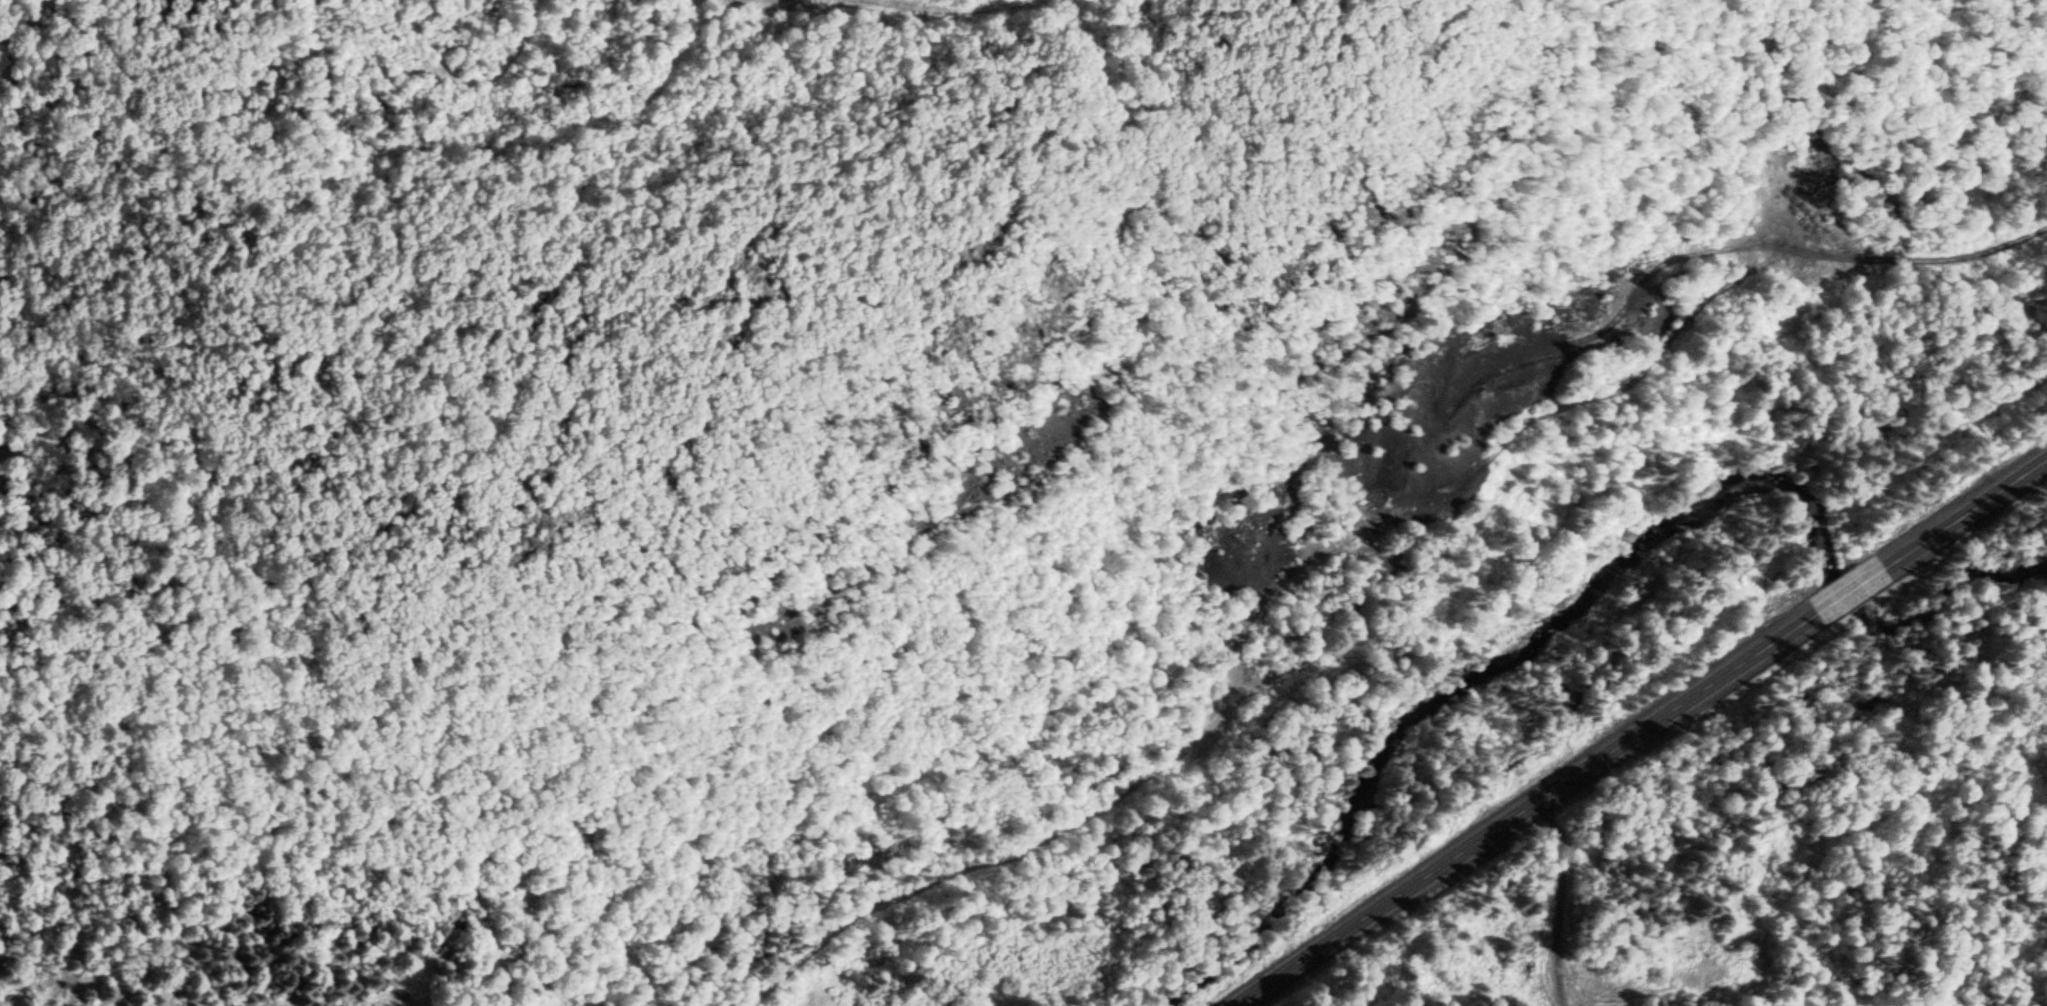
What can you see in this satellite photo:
road: (1964, 513)
road: (1365, 530)
road: (1853, 587)
river: (1611, 598)
road: (1524, 805)
road: (1556, 902)

